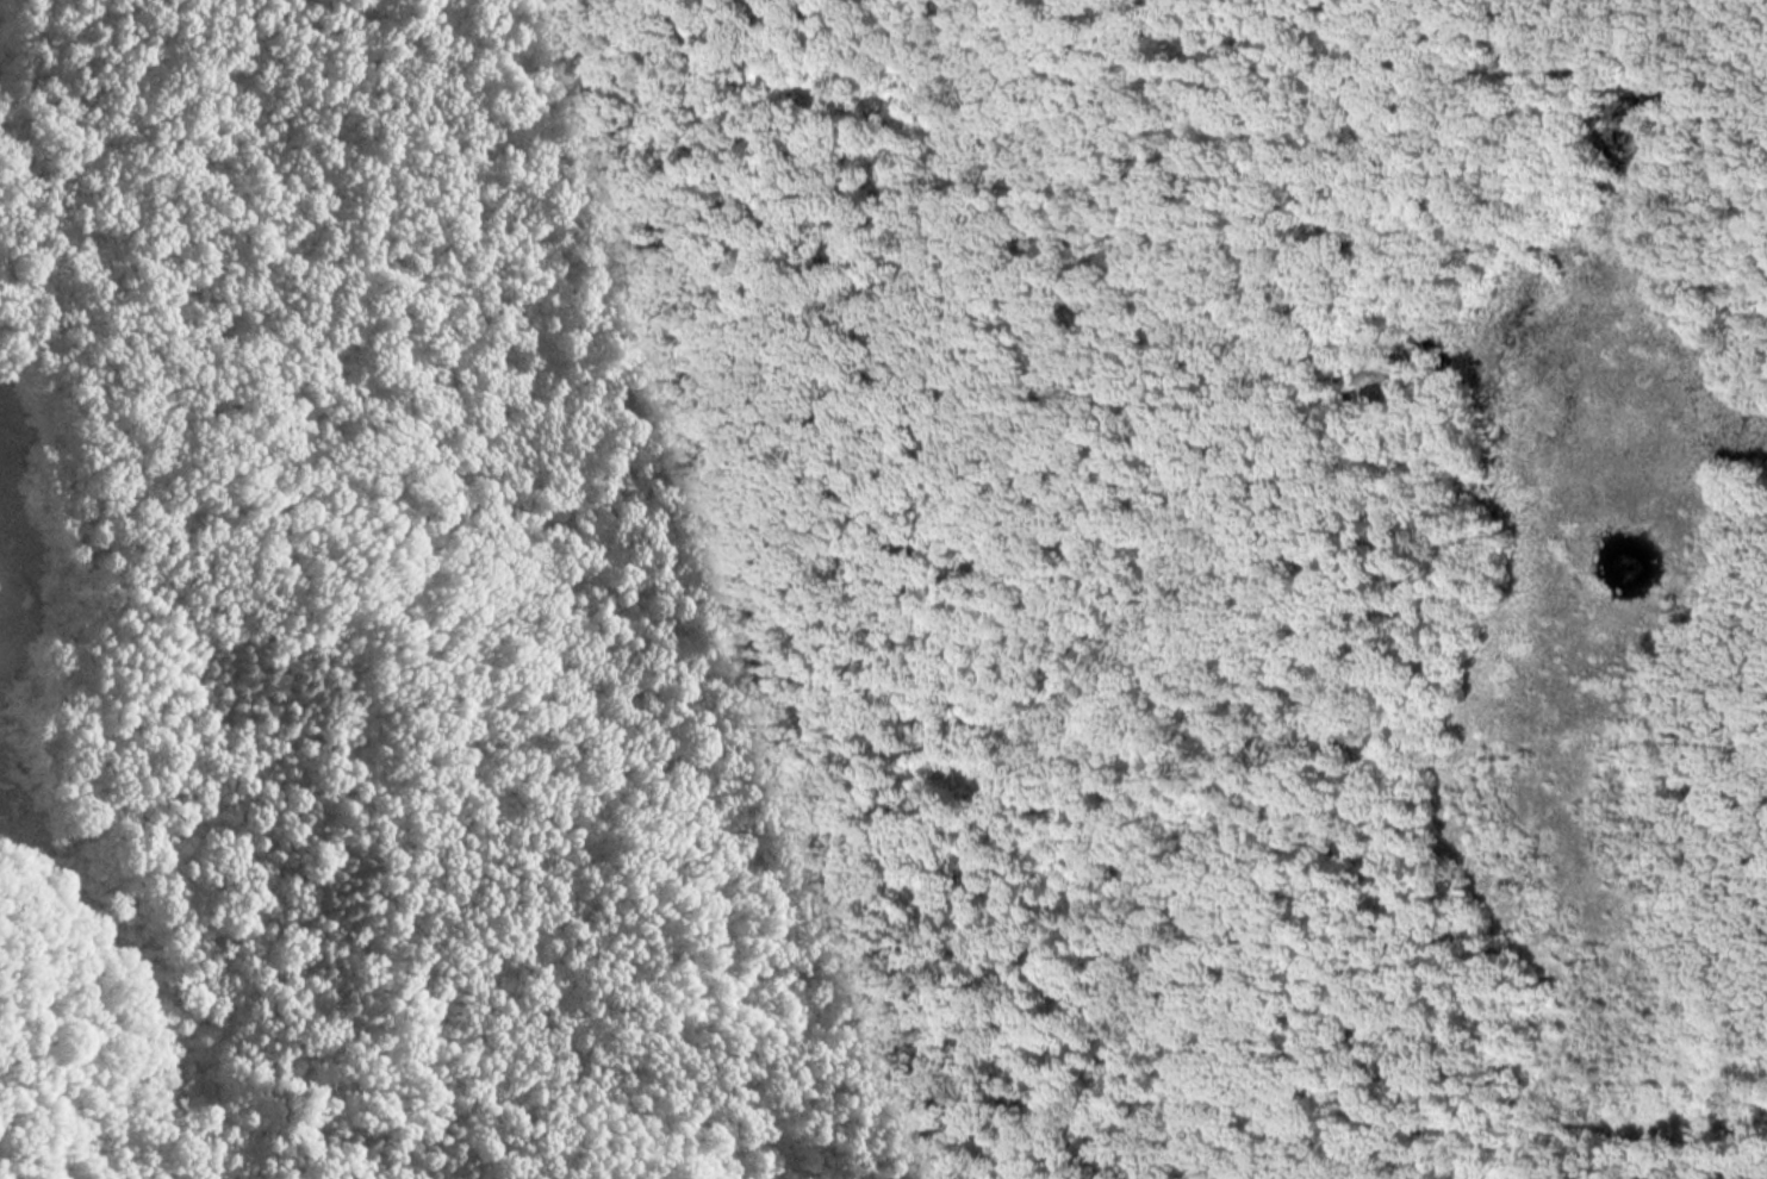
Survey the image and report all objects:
park: (883, 589)

